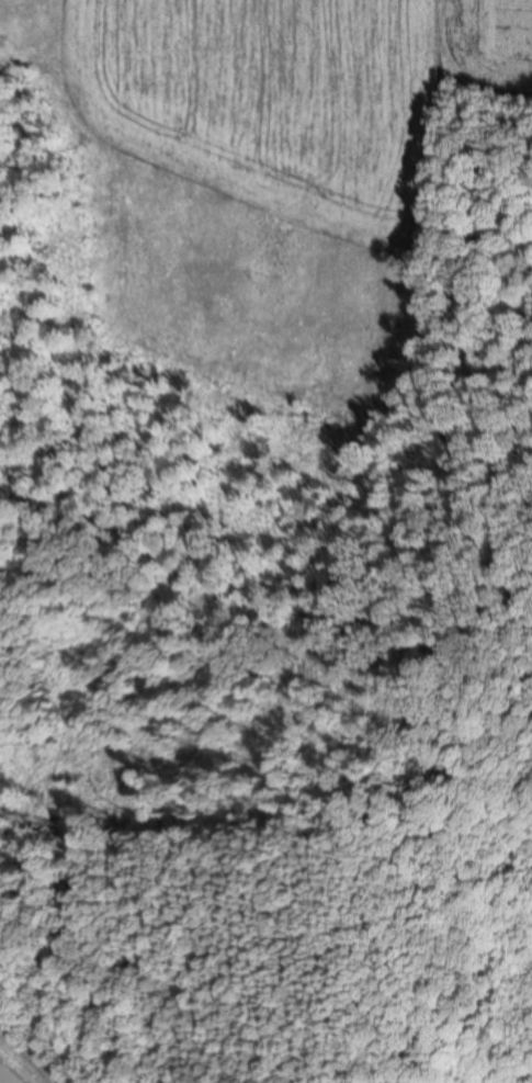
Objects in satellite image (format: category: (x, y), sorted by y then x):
crop: (305, 93)
road: (35, 1051)
crop: (23, 1062)

